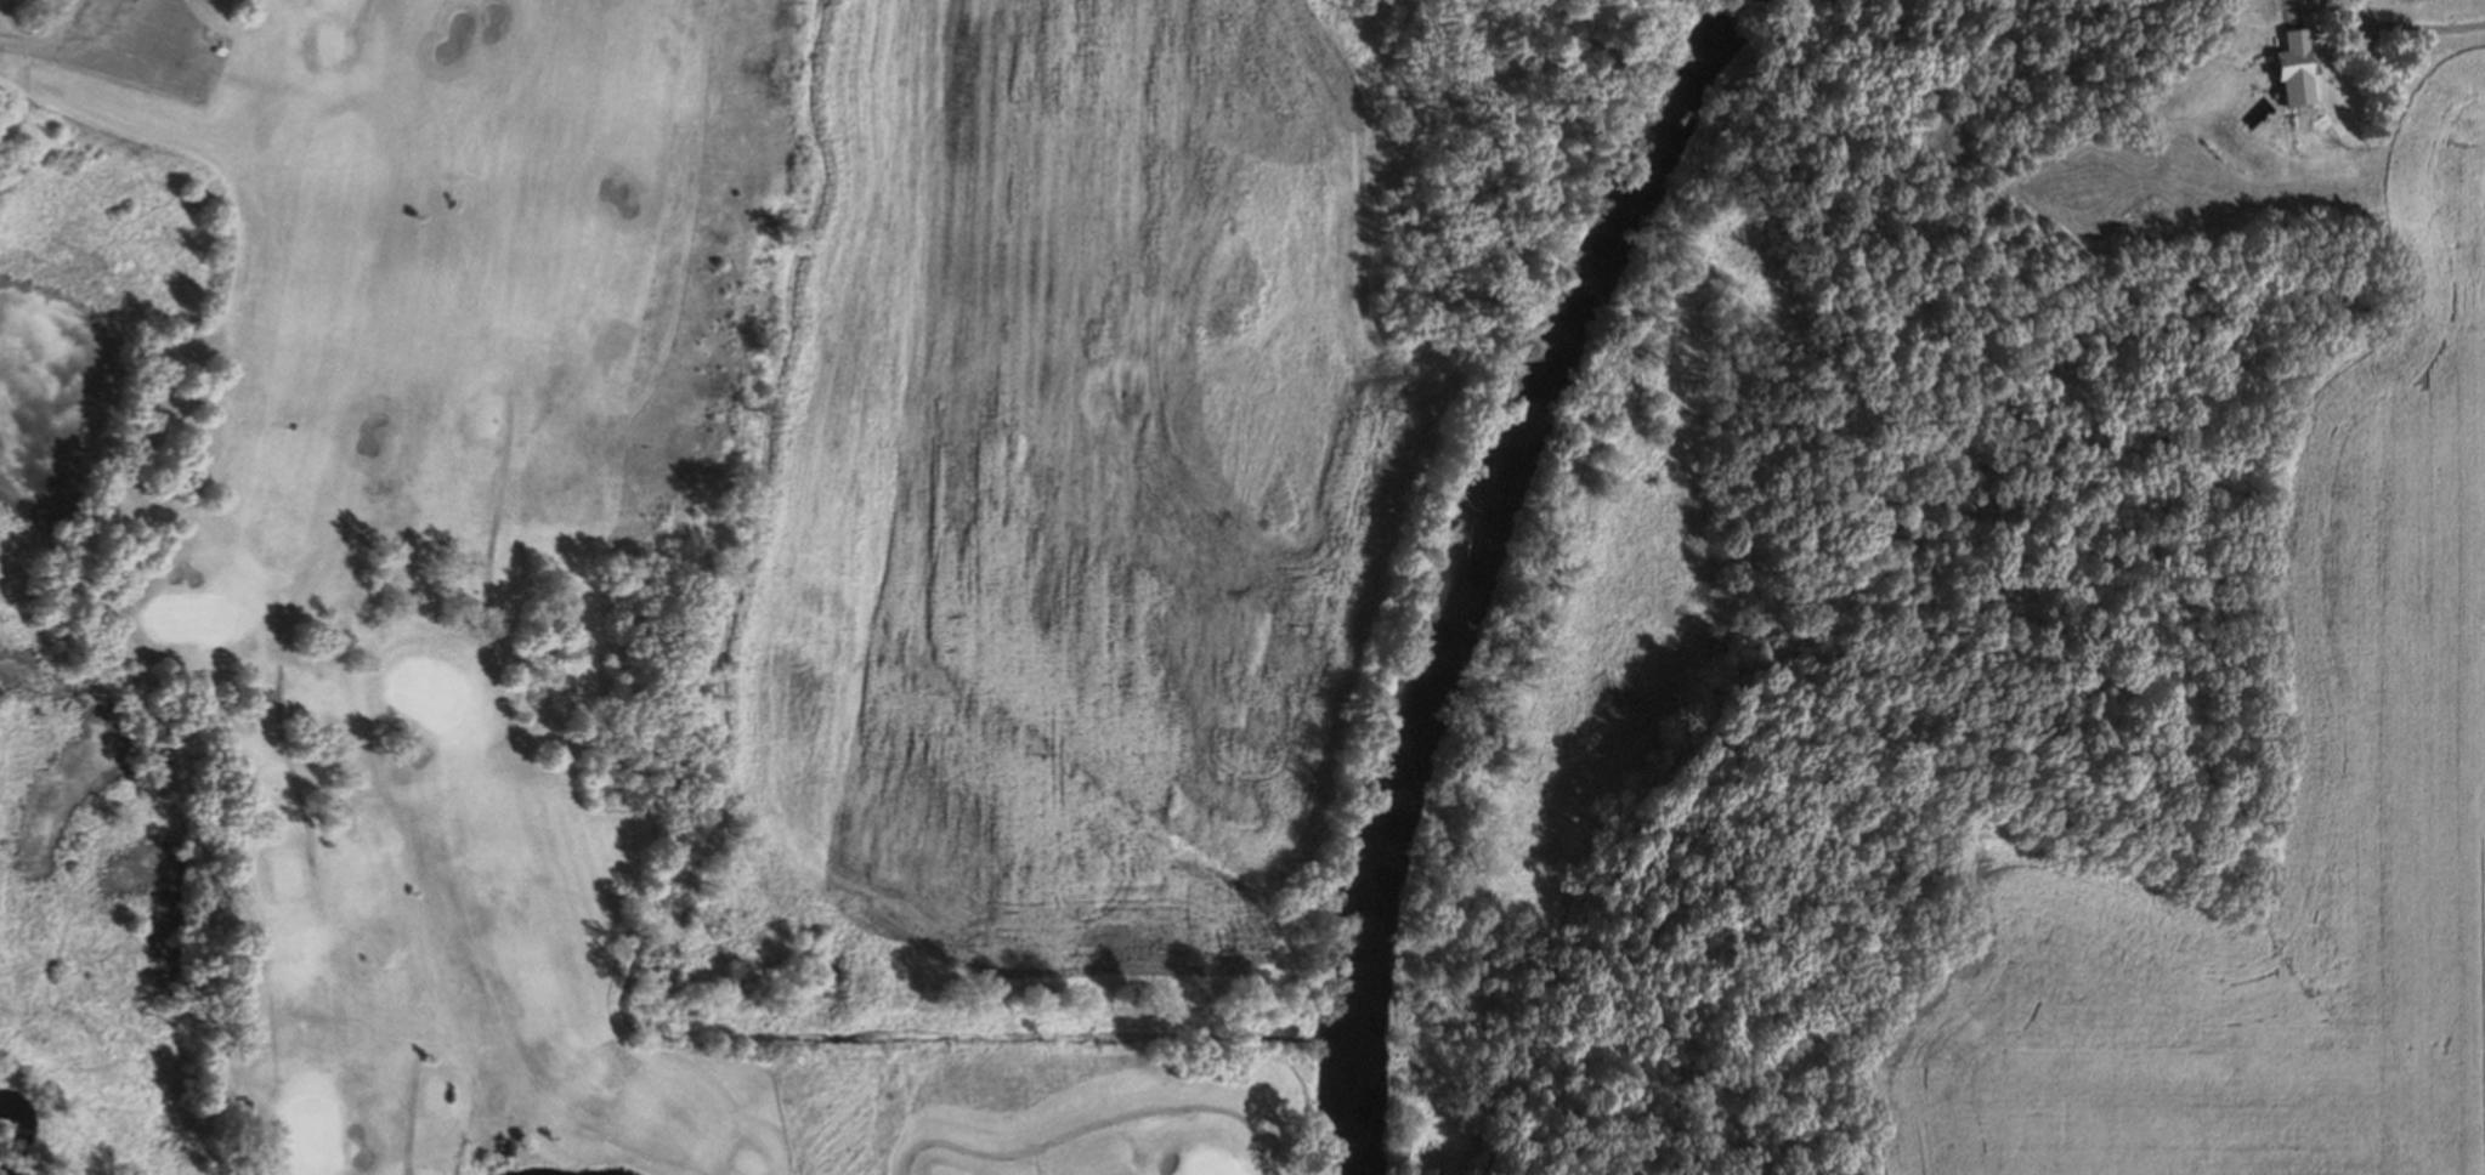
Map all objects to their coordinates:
road: (2421, 28)
road: (26, 42)
building: (143, 45)
building: (2283, 68)
park: (766, 540)
river: (1467, 557)
road: (489, 574)
park: (430, 693)
road: (291, 767)
road: (409, 1116)
road: (1091, 1126)
park: (311, 1137)
building: (500, 1147)
river: (5, 1158)
park: (1205, 1165)
road: (695, 1173)

